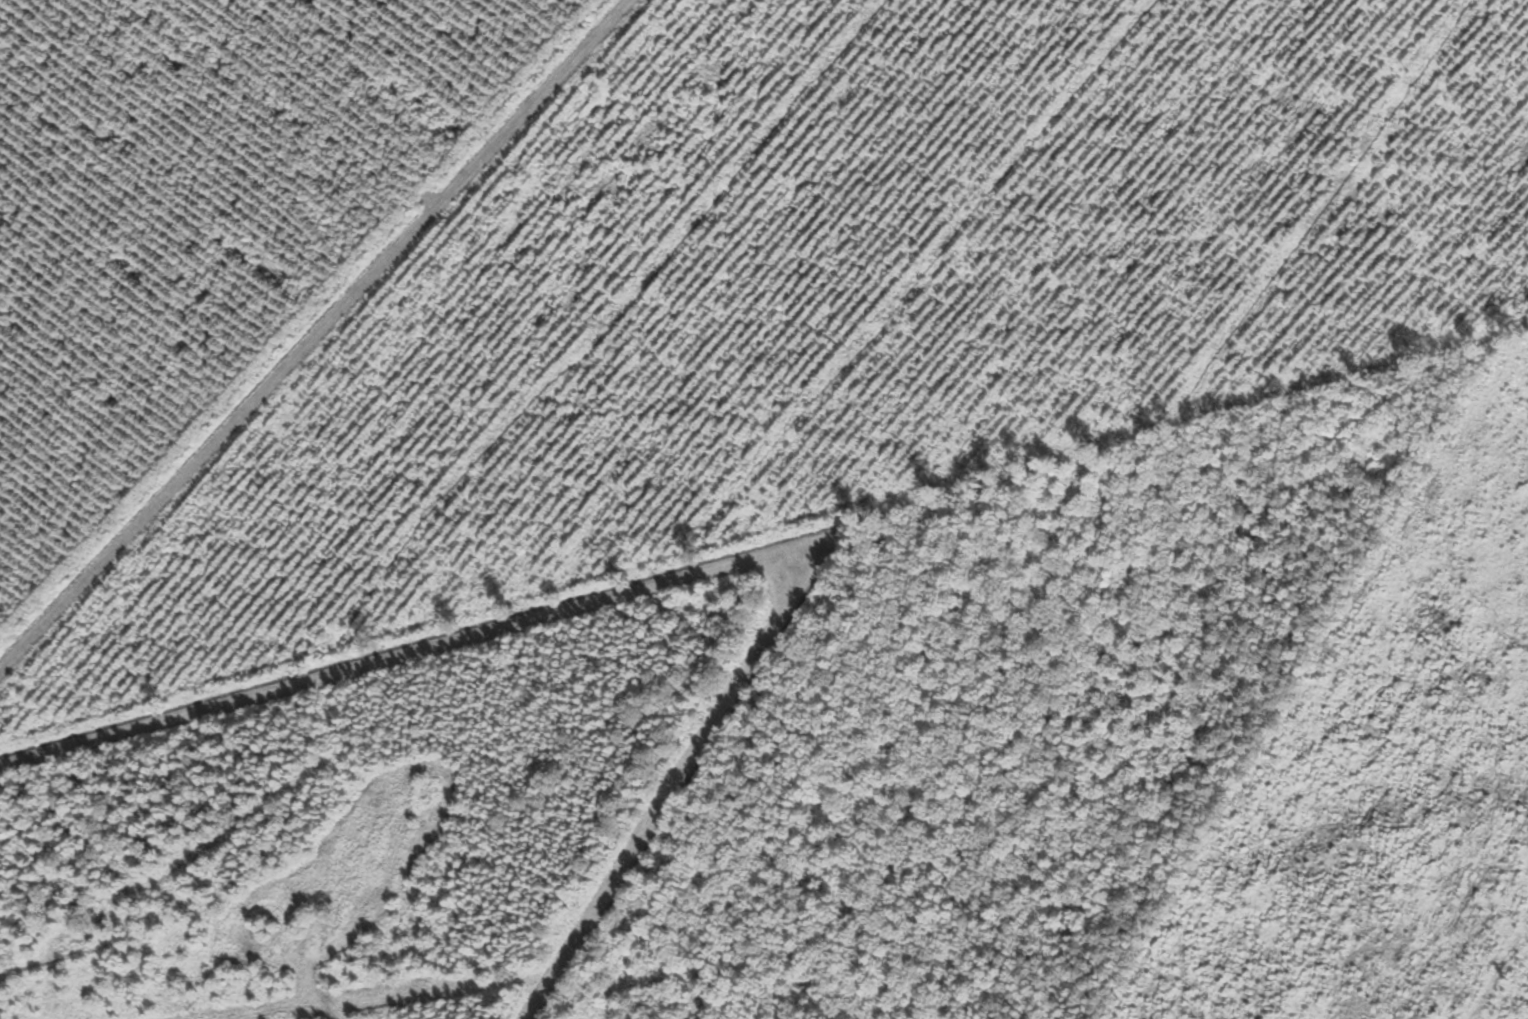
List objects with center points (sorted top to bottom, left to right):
road: (322, 336)

